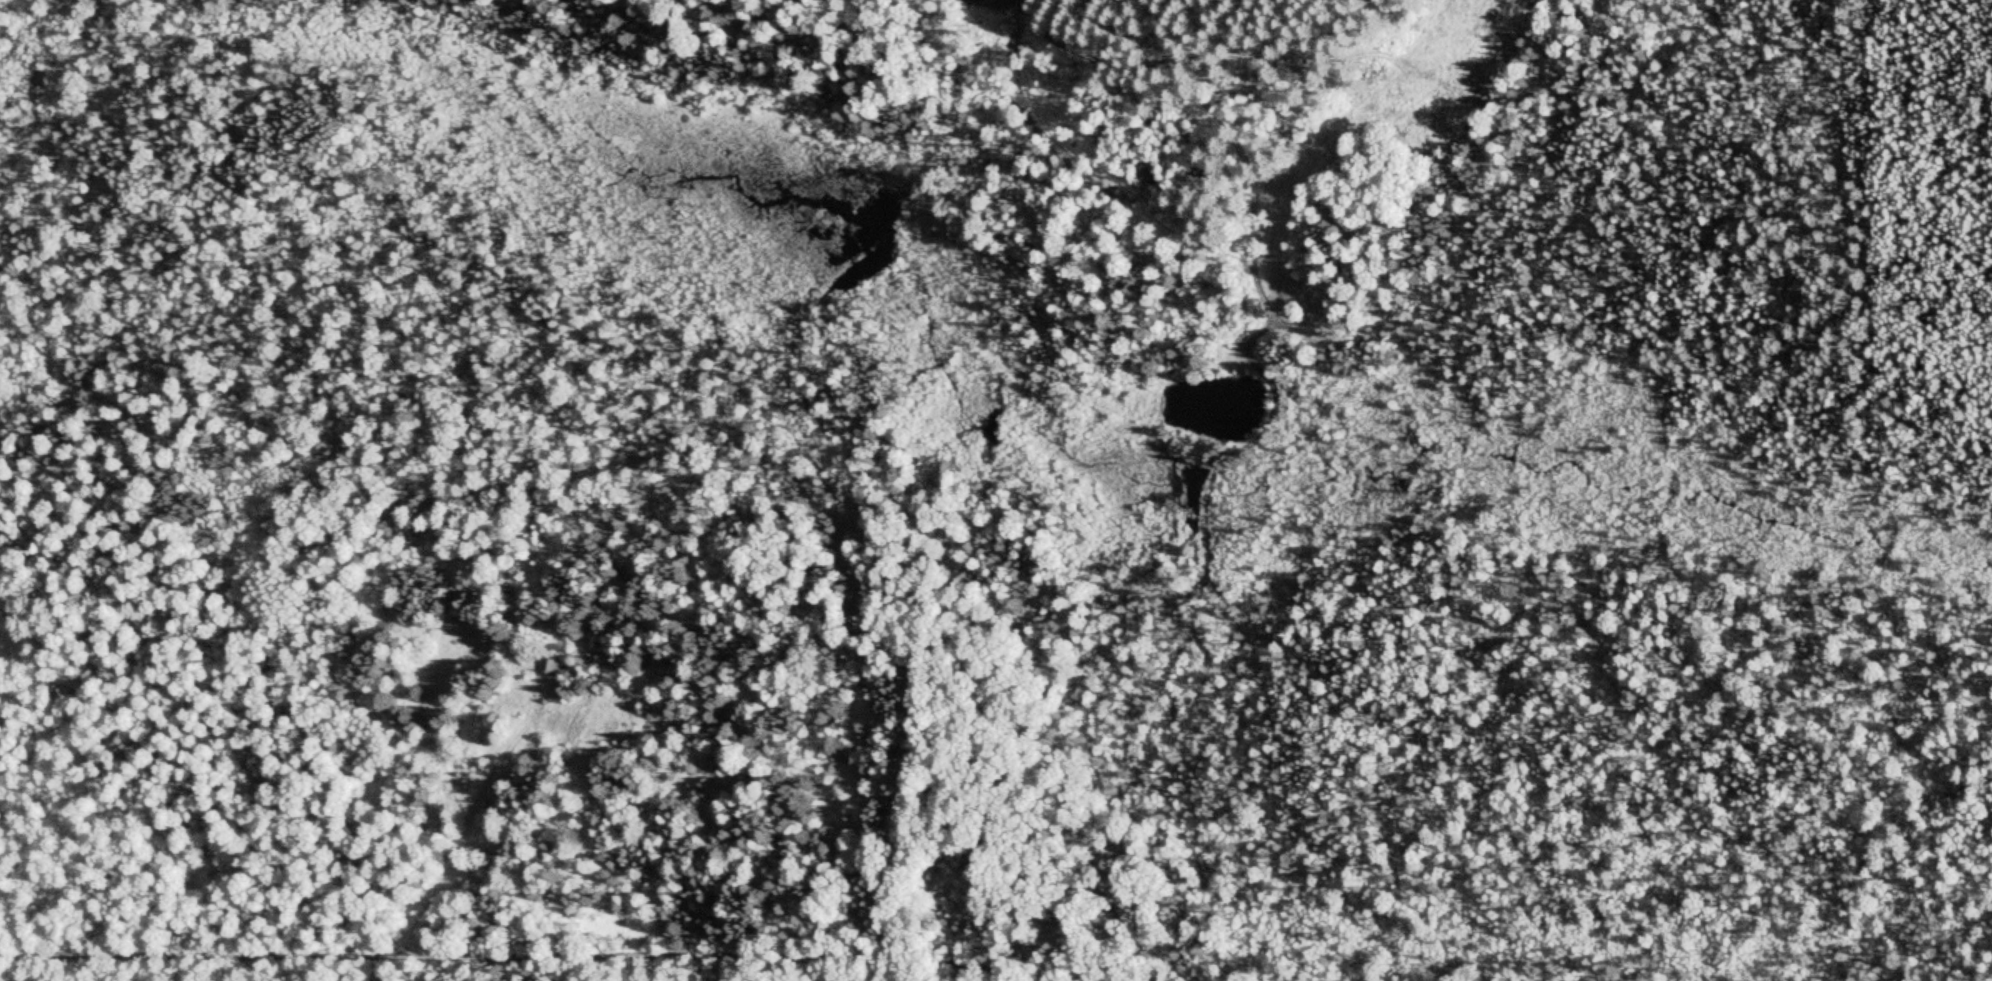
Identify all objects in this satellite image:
road: (507, 950)

